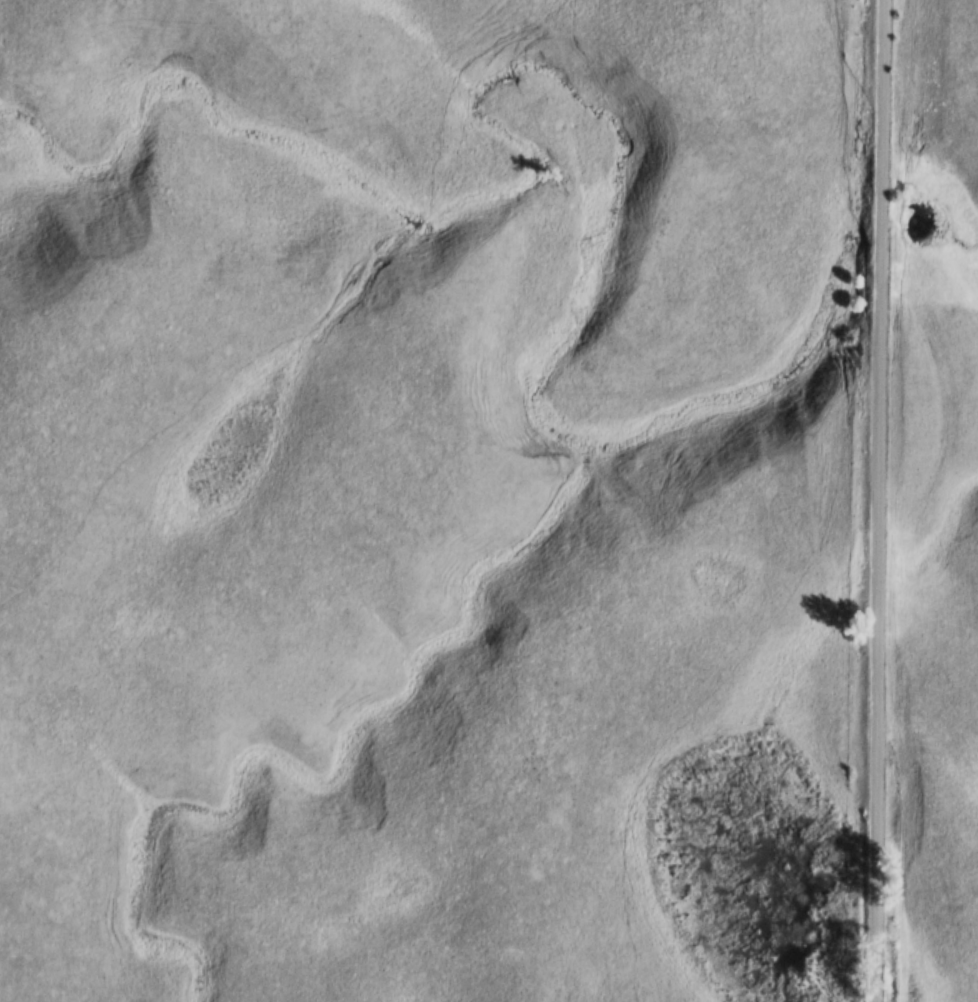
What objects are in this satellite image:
road: (886, 501)

